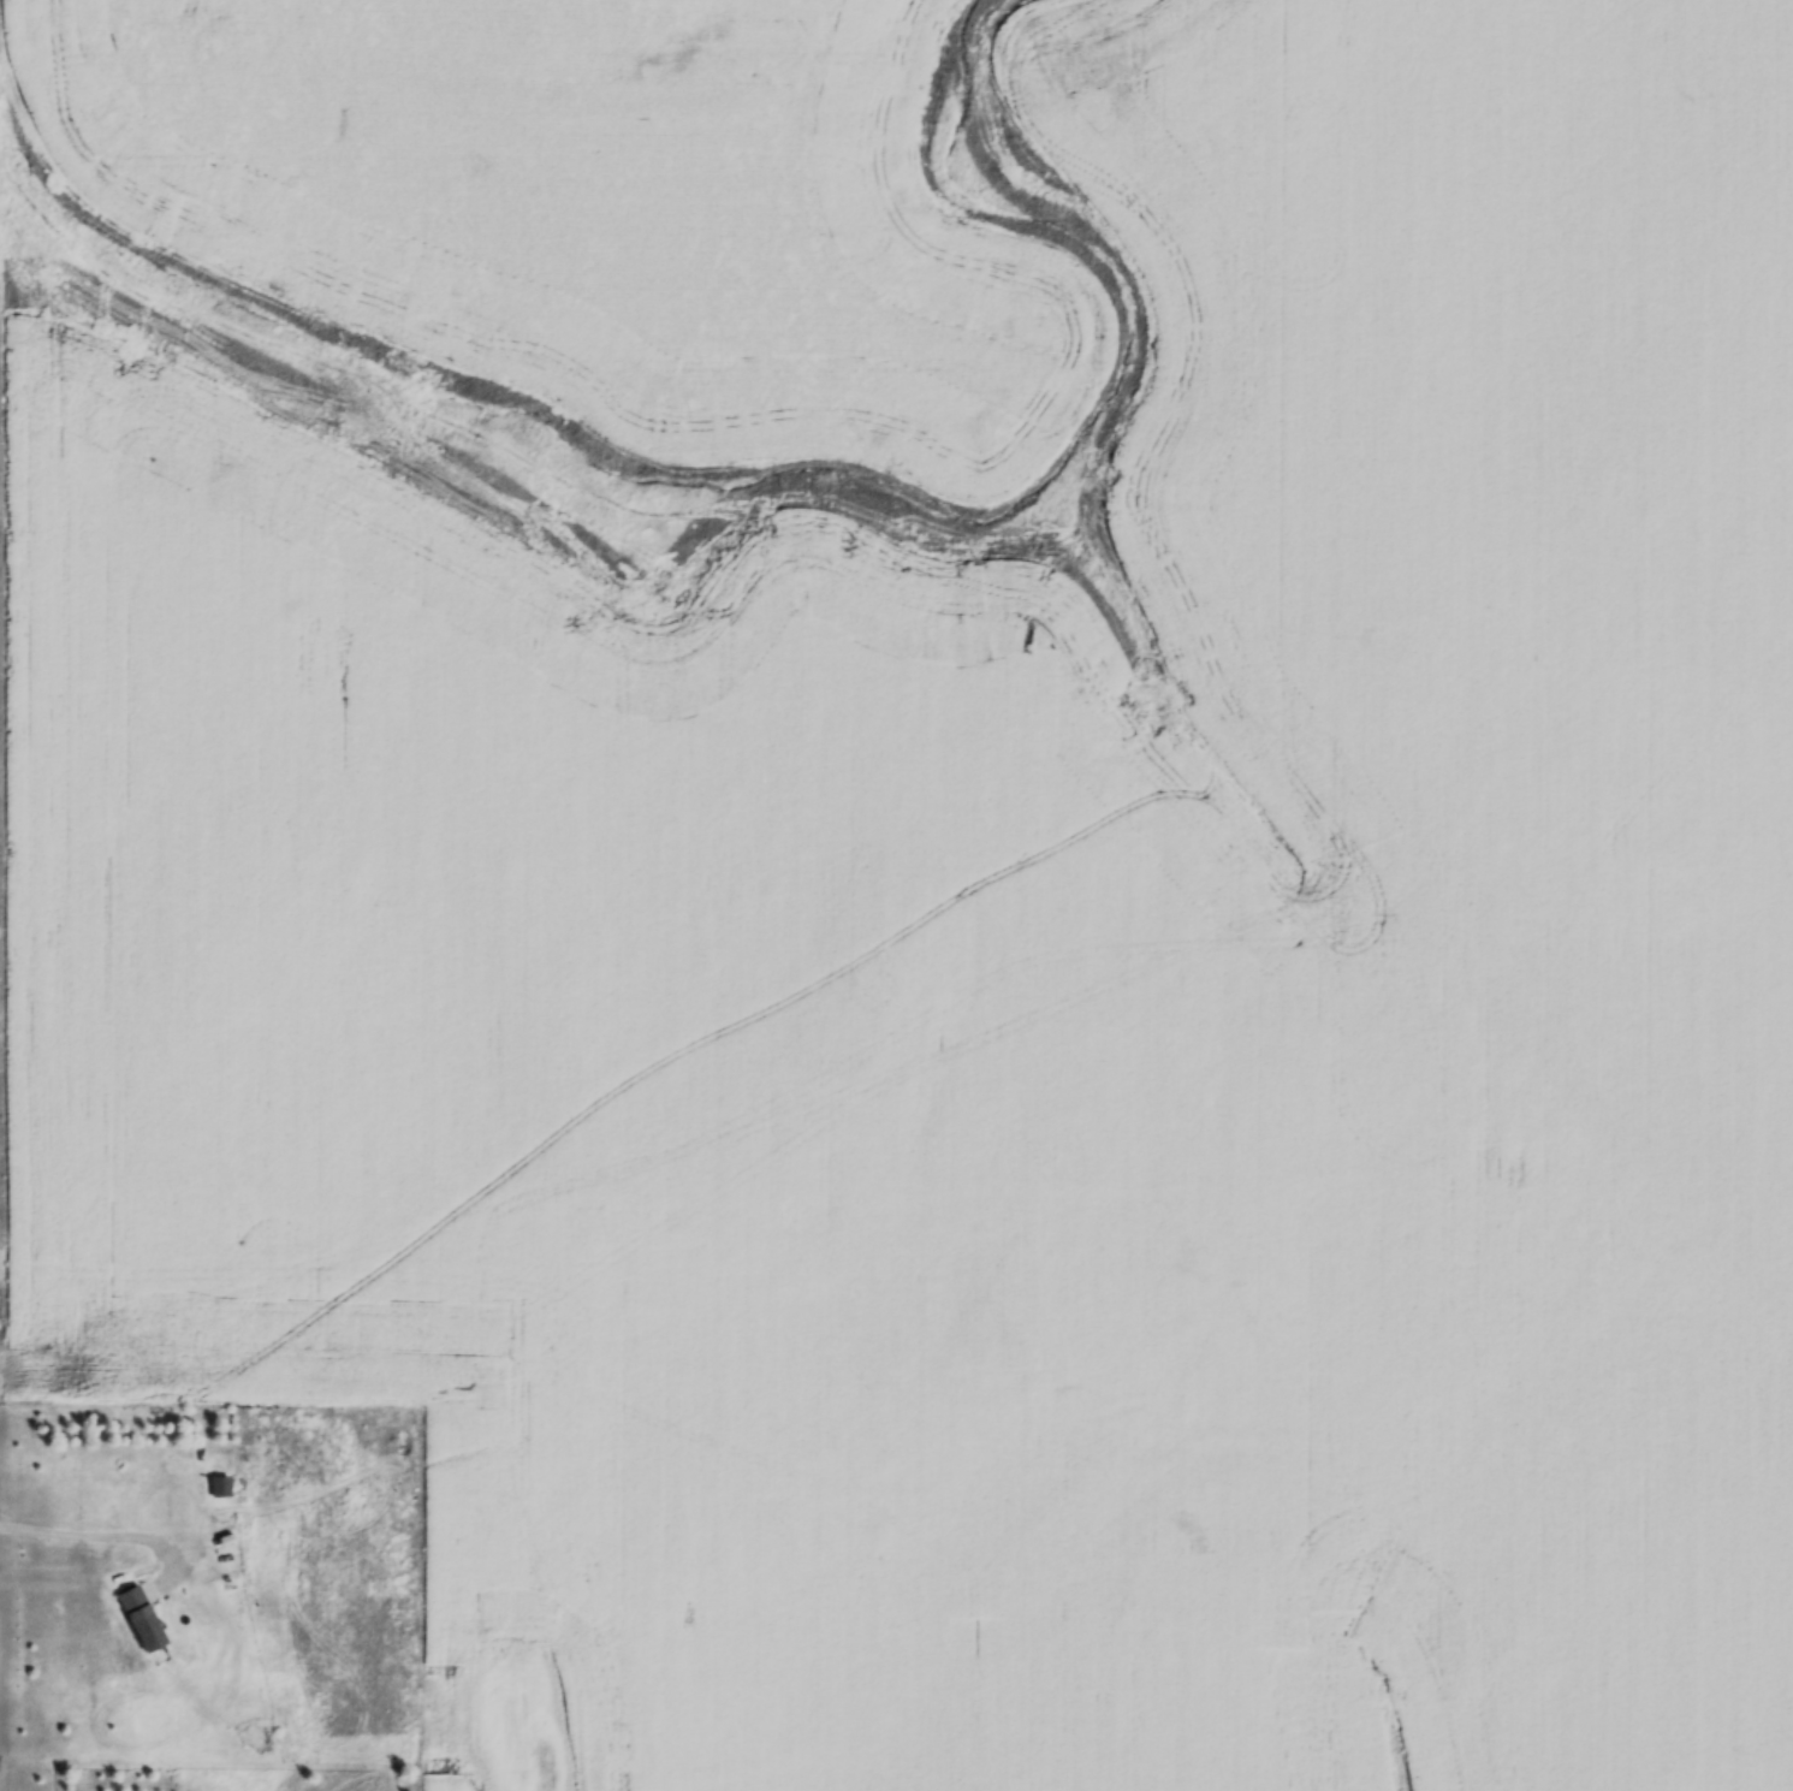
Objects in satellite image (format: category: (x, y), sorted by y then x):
road: (99, 1537)
building: (142, 1619)

